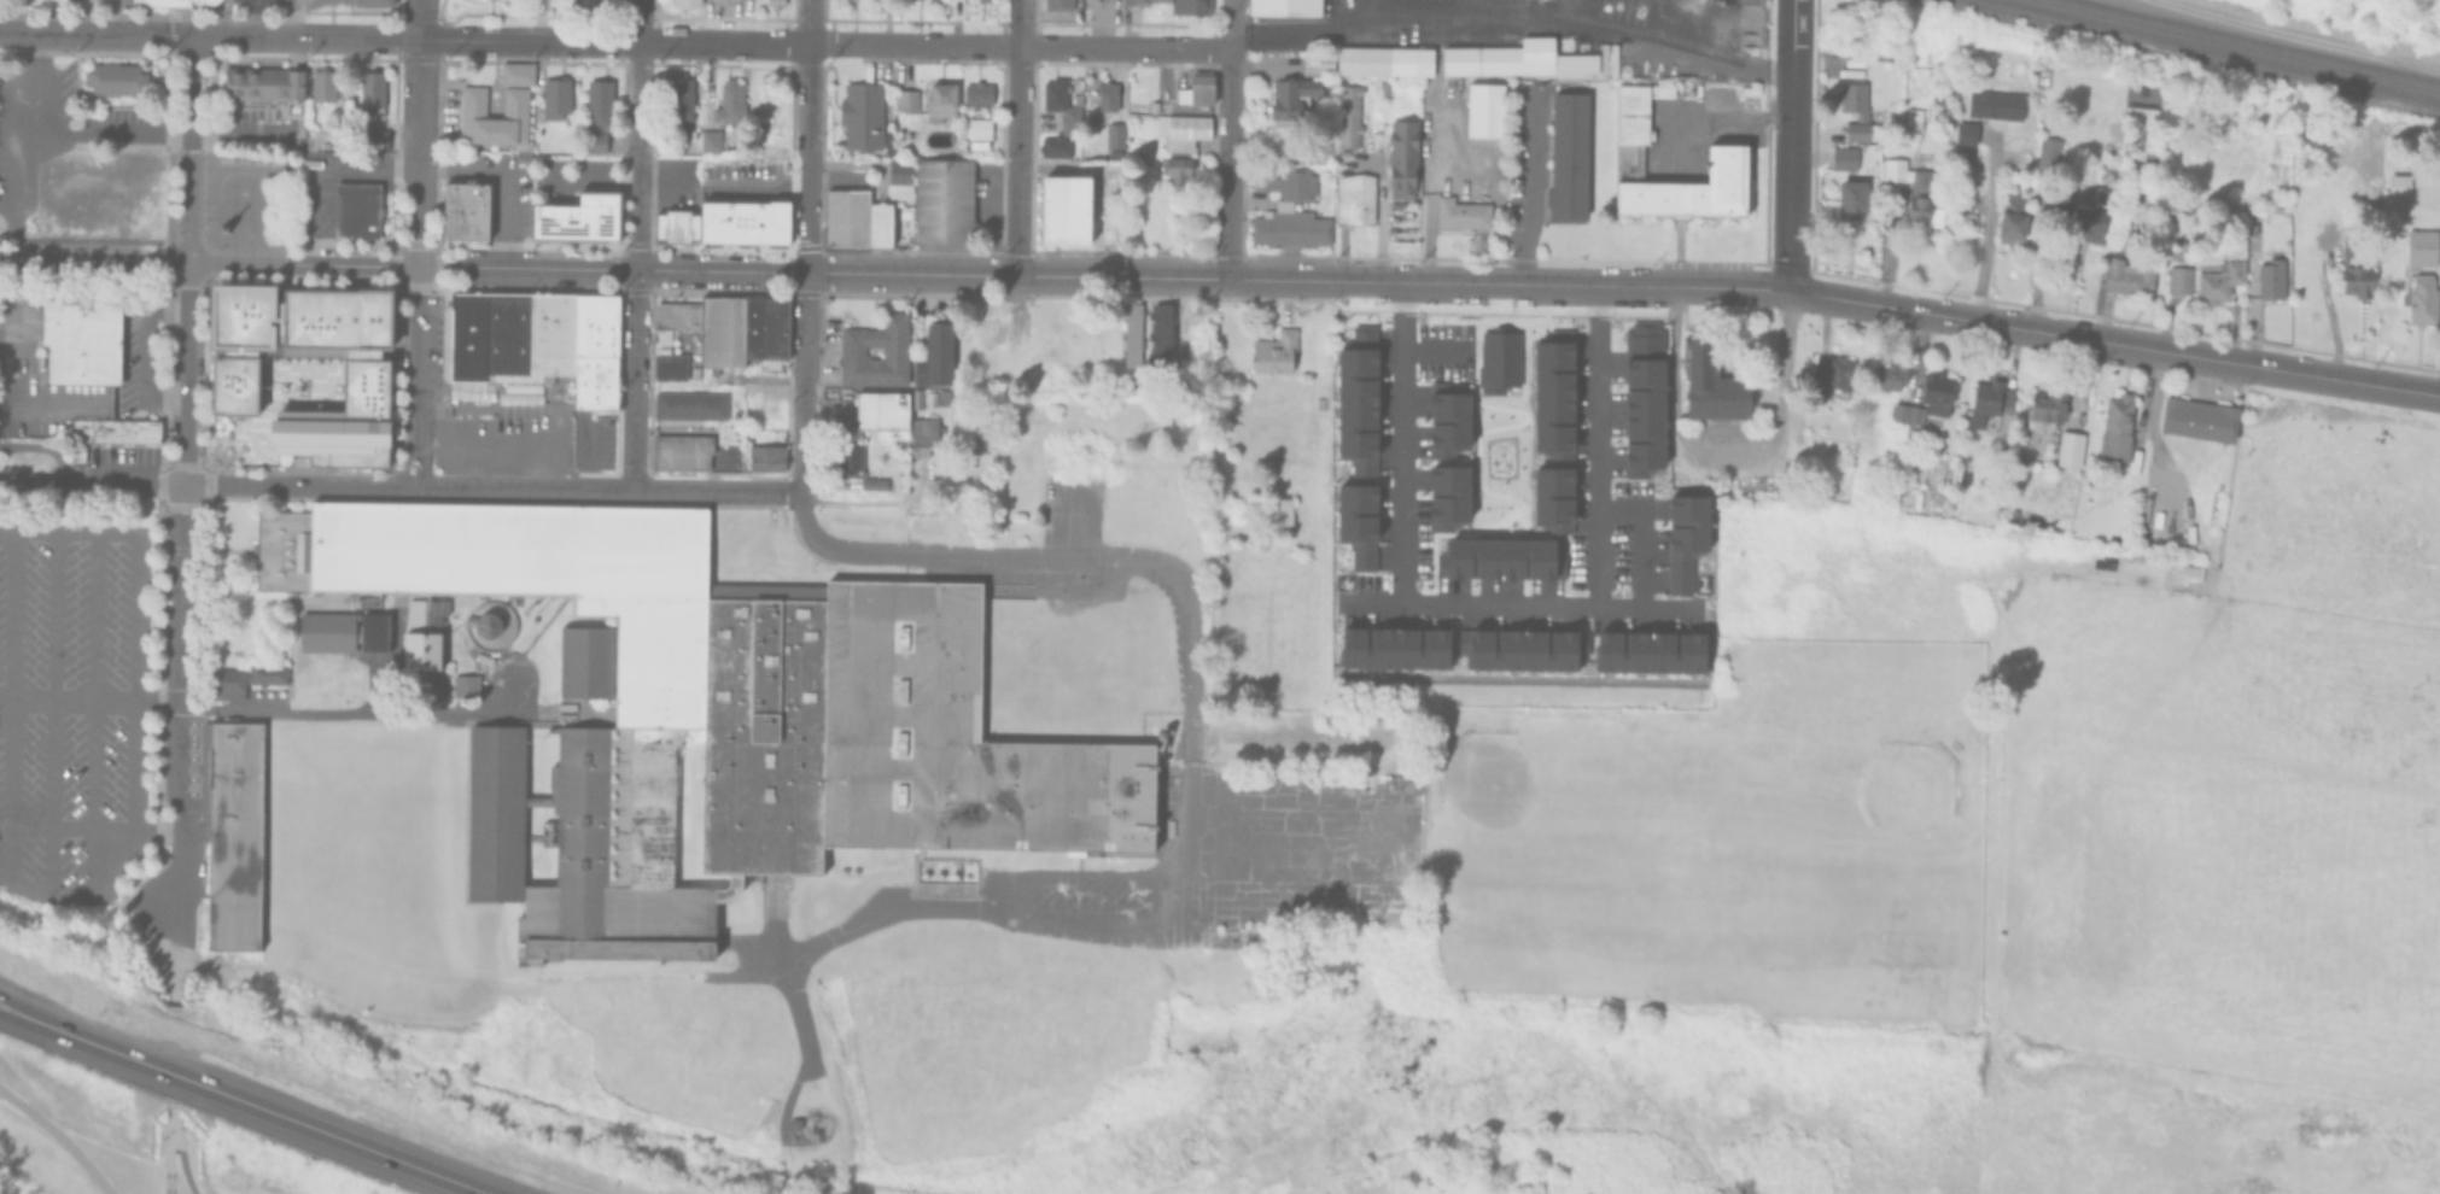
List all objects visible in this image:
building: (723, 0)
building: (203, 1)
building: (375, 1)
building: (1136, 1)
building: (163, 2)
building: (684, 2)
building: (774, 2)
building: (1057, 4)
building: (1191, 6)
building: (1285, 6)
road: (1364, 8)
road: (1565, 8)
road: (1511, 11)
road: (256, 18)
road: (1021, 23)
road: (1226, 24)
road: (94, 33)
road: (2299, 34)
road: (707, 41)
railway: (2241, 43)
building: (1514, 58)
building: (1384, 59)
building: (1603, 59)
building: (1612, 59)
building: (1318, 60)
building: (1630, 66)
building: (515, 72)
building: (117, 77)
building: (262, 83)
building: (325, 84)
building: (1195, 87)
building: (1383, 87)
building: (1749, 88)
building: (1662, 89)
building: (374, 90)
building: (976, 93)
building: (1291, 94)
building: (554, 95)
building: (904, 99)
building: (940, 99)
building: (1102, 99)
building: (1854, 99)
building: (597, 101)
building: (678, 101)
building: (728, 101)
building: (1058, 103)
building: (1485, 109)
building: (472, 113)
building: (860, 113)
building: (1630, 113)
building: (1347, 115)
building: (1909, 116)
building: (510, 118)
road: (1726, 124)
building: (977, 127)
building: (1855, 130)
road: (110, 133)
building: (1114, 134)
building: (378, 139)
building: (708, 139)
building: (591, 141)
building: (1178, 142)
building: (1053, 145)
building: (2047, 145)
road: (1790, 146)
road: (187, 150)
building: (1323, 151)
building: (1401, 157)
building: (1843, 157)
building: (1566, 158)
building: (247, 159)
road: (1018, 162)
road: (12, 163)
road: (416, 164)
road: (1226, 164)
building: (898, 175)
road: (835, 177)
road: (618, 178)
building: (2394, 182)
road: (760, 185)
road: (1432, 185)
building: (1688, 189)
building: (1911, 191)
building: (2100, 192)
road: (1546, 194)
building: (2064, 195)
building: (110, 197)
building: (1354, 198)
building: (1850, 198)
building: (69, 199)
building: (2178, 199)
building: (941, 200)
park: (249, 201)
building: (1063, 209)
building: (1288, 209)
building: (355, 210)
building: (463, 211)
building: (1460, 212)
building: (1965, 213)
road: (1377, 215)
building: (2007, 215)
building: (577, 216)
building: (845, 217)
building: (742, 222)
building: (2086, 222)
building: (878, 223)
building: (675, 224)
road: (414, 242)
road: (635, 244)
building: (2418, 244)
road: (804, 245)
building: (2178, 248)
road: (92, 263)
building: (2353, 268)
road: (600, 271)
building: (2124, 275)
building: (2216, 276)
building: (2269, 276)
building: (2175, 277)
road: (1732, 289)
building: (2418, 297)
road: (1015, 310)
building: (675, 315)
building: (594, 323)
building: (751, 327)
building: (772, 327)
building: (506, 332)
building: (550, 332)
building: (719, 332)
building: (1131, 334)
building: (466, 335)
building: (1158, 335)
building: (80, 336)
road: (141, 349)
building: (851, 351)
building: (1272, 351)
building: (1356, 353)
building: (933, 356)
building: (1551, 356)
building: (302, 362)
building: (1498, 362)
building: (667, 367)
road: (23, 371)
building: (1831, 373)
building: (1886, 376)
building: (593, 382)
building: (1710, 384)
building: (1936, 391)
building: (942, 394)
building: (912, 396)
building: (928, 396)
building: (1986, 399)
road: (57, 402)
building: (1318, 402)
building: (2044, 403)
building: (689, 405)
building: (1354, 405)
building: (880, 409)
building: (1899, 411)
building: (1551, 412)
building: (2194, 416)
building: (1444, 420)
building: (2112, 426)
building: (113, 432)
building: (921, 433)
road: (510, 438)
road: (1594, 445)
building: (2068, 450)
building: (679, 451)
building: (1356, 452)
road: (585, 455)
road: (1724, 455)
building: (764, 456)
building: (847, 456)
building: (2132, 456)
road: (296, 468)
building: (1954, 478)
building: (1819, 479)
road: (92, 481)
building: (870, 481)
road: (297, 485)
road: (523, 486)
road: (716, 490)
building: (1446, 496)
building: (1551, 498)
building: (1354, 511)
building: (1278, 513)
building: (1682, 539)
road: (944, 554)
building: (1360, 554)
building: (1499, 558)
road: (181, 587)
road: (1424, 603)
building: (481, 621)
building: (342, 630)
building: (420, 630)
road: (138, 633)
building: (1393, 648)
building: (1519, 649)
building: (1647, 651)
building: (243, 677)
road: (12, 678)
road: (53, 678)
road: (97, 679)
building: (419, 683)
building: (463, 683)
road: (0, 695)
road: (253, 709)
parking lot: (75, 710)
building: (719, 720)
road: (1187, 725)
road: (6, 733)
building: (1401, 782)
road: (68, 827)
building: (235, 838)
park: (1541, 838)
road: (1393, 845)
park: (1727, 847)
road: (1290, 849)
park: (1827, 855)
road: (898, 906)
road: (1091, 917)
road: (169, 955)
road: (4, 1002)
road: (4, 1005)
road: (246, 1101)
building: (792, 1122)
road: (59, 1139)
road: (170, 1140)
road: (180, 1154)

